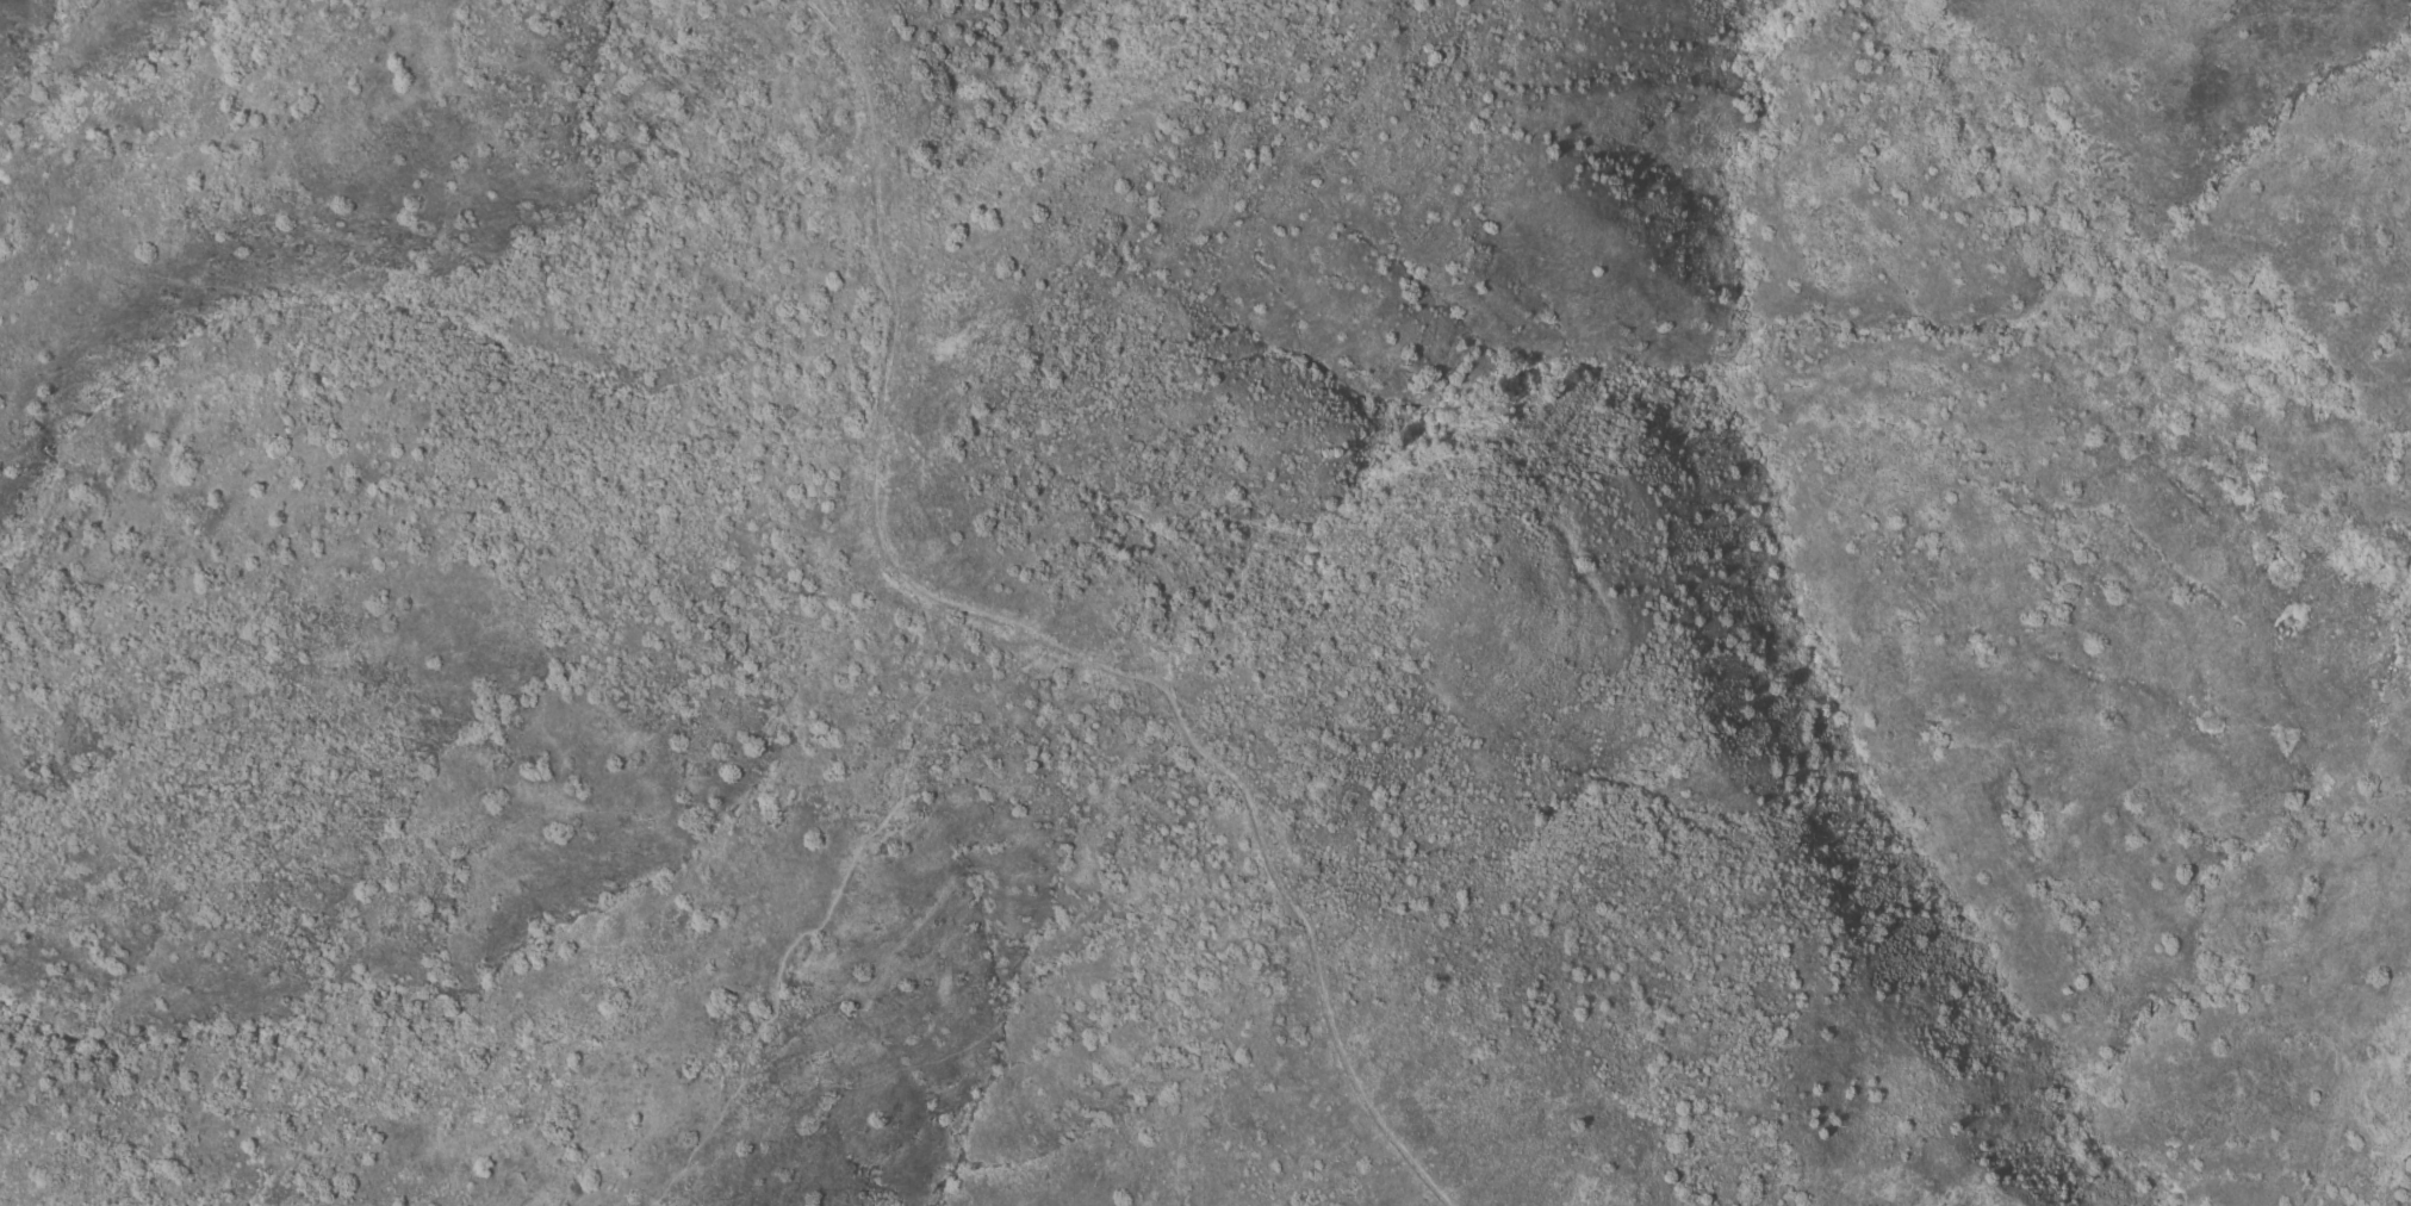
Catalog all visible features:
road: (1023, 635)

